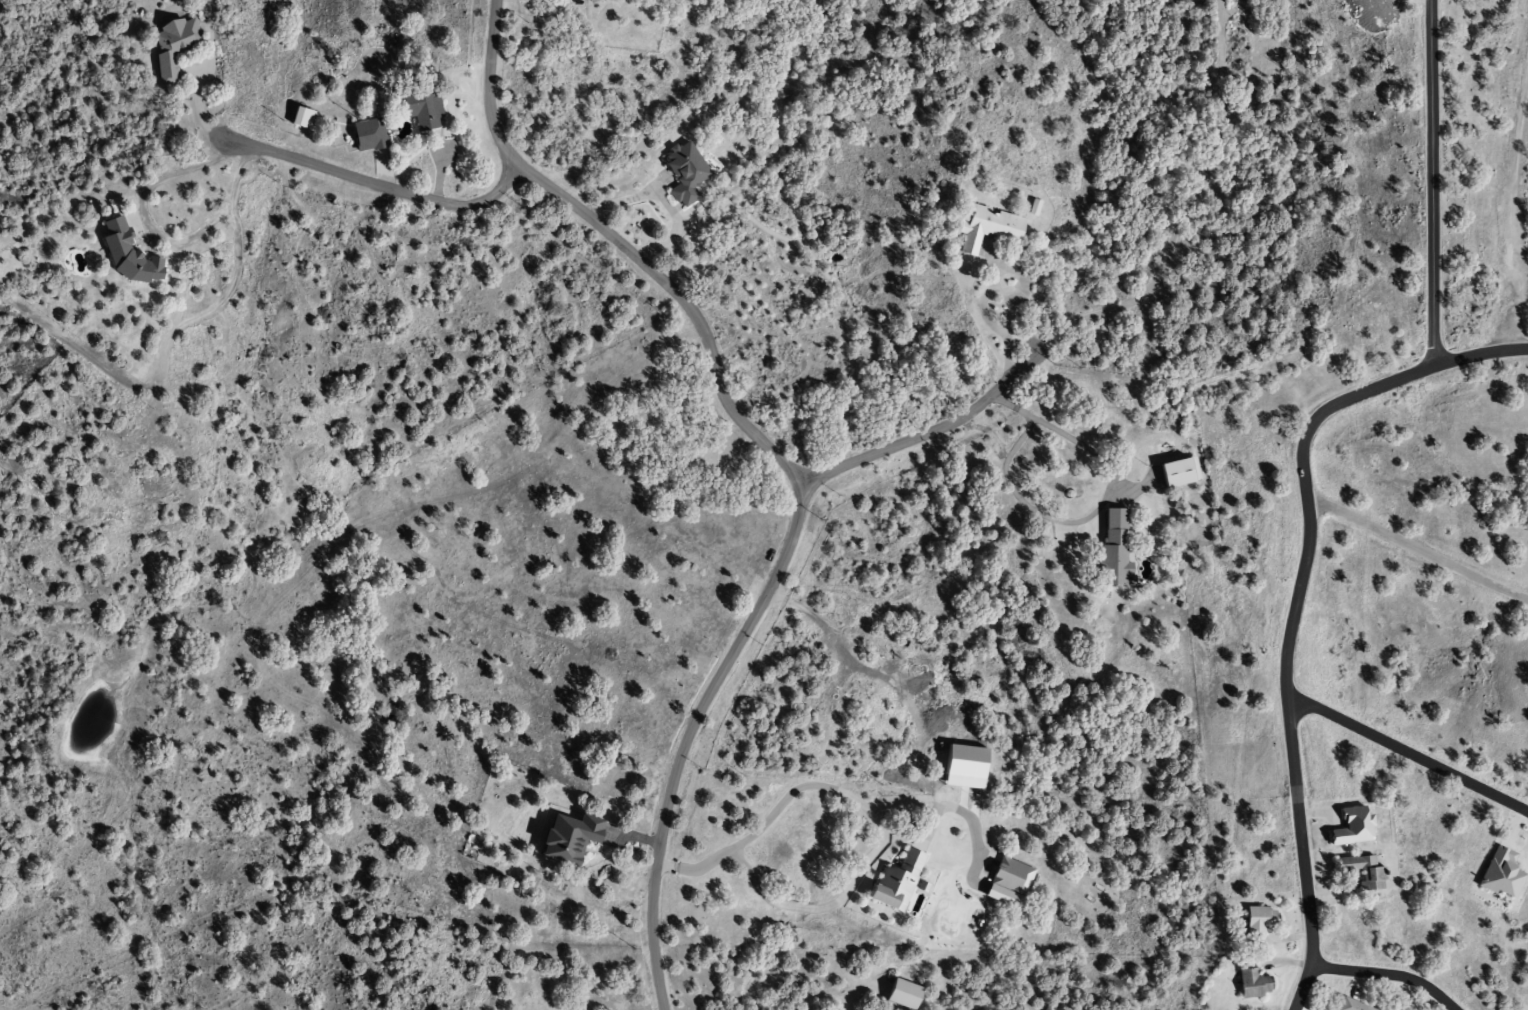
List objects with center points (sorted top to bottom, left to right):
building: (173, 46)
road: (488, 85)
building: (420, 108)
building: (368, 134)
building: (682, 174)
road: (1431, 183)
road: (380, 184)
road: (1185, 217)
building: (984, 228)
road: (152, 230)
building: (126, 254)
road: (923, 435)
building: (1178, 472)
road: (789, 540)
road: (1417, 548)
building: (1114, 558)
road: (1294, 600)
road: (1409, 753)
building: (963, 765)
building: (1350, 827)
building: (566, 838)
building: (1362, 872)
building: (1500, 874)
building: (1010, 877)
building: (894, 883)
building: (1257, 920)
road: (1388, 974)
building: (1250, 984)
building: (900, 995)
building: (1348, 1005)

